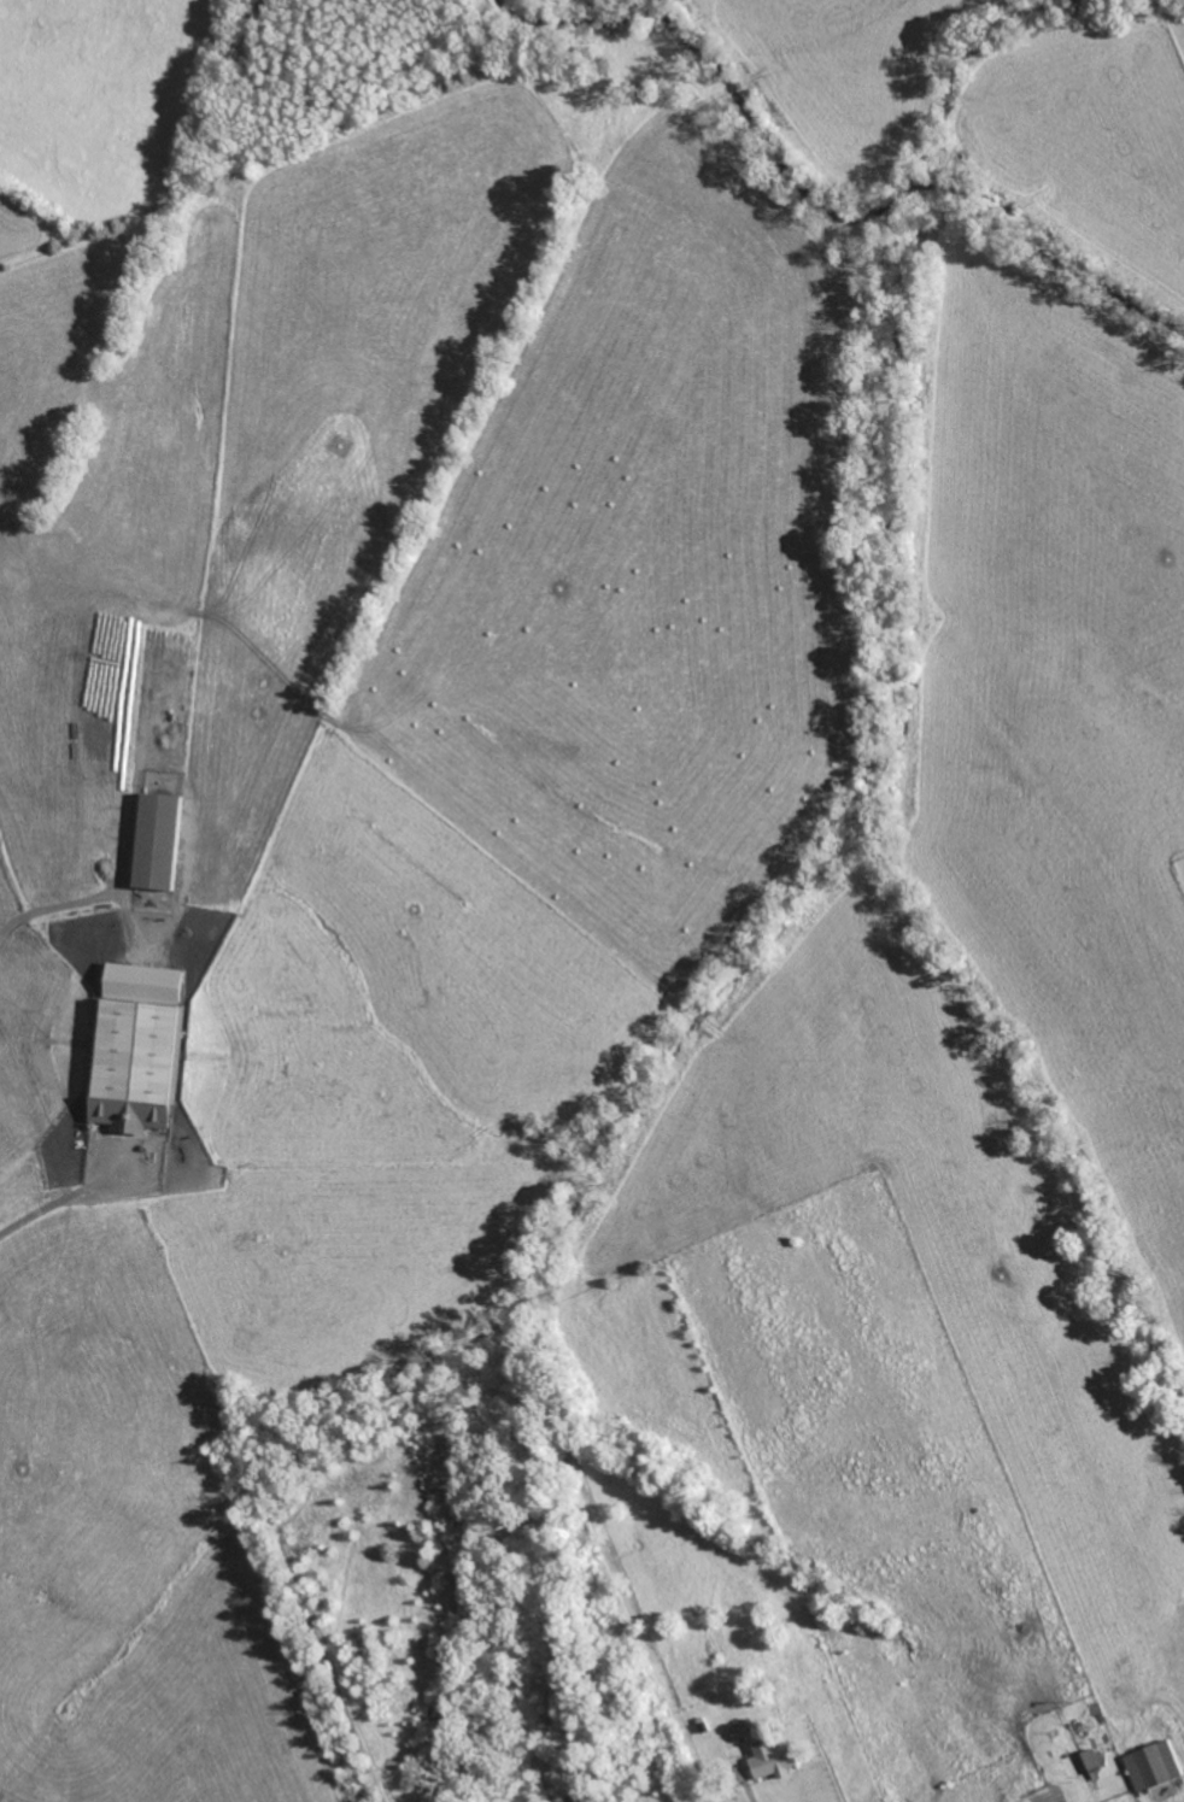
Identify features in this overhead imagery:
building: (157, 840)
road: (58, 904)
building: (136, 1046)
road: (33, 1226)
building: (772, 1757)
building: (1153, 1765)
road: (748, 1789)

